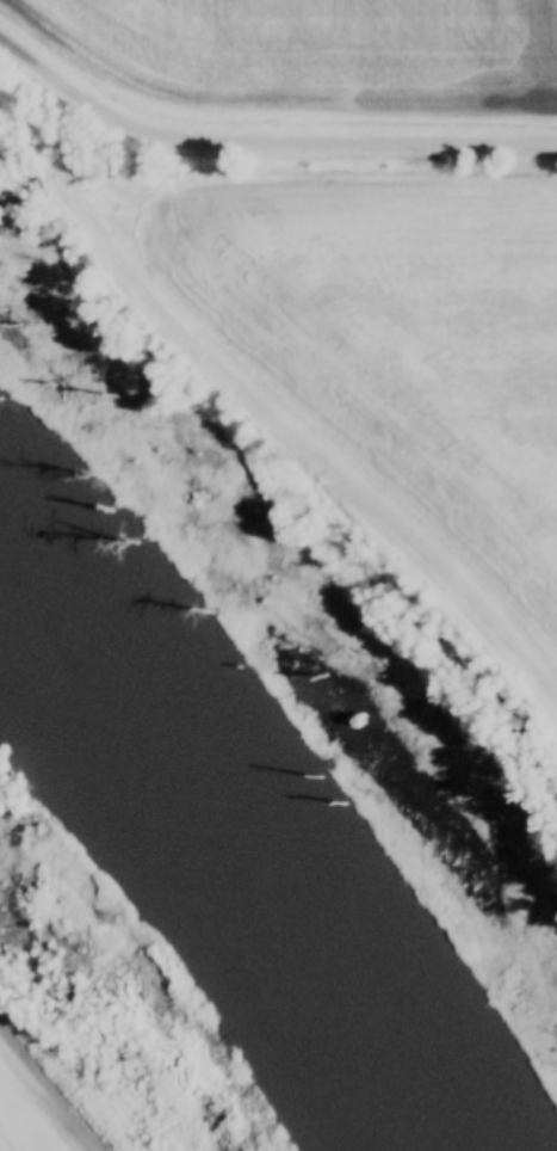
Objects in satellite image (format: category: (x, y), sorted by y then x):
road: (265, 140)
river: (209, 886)

